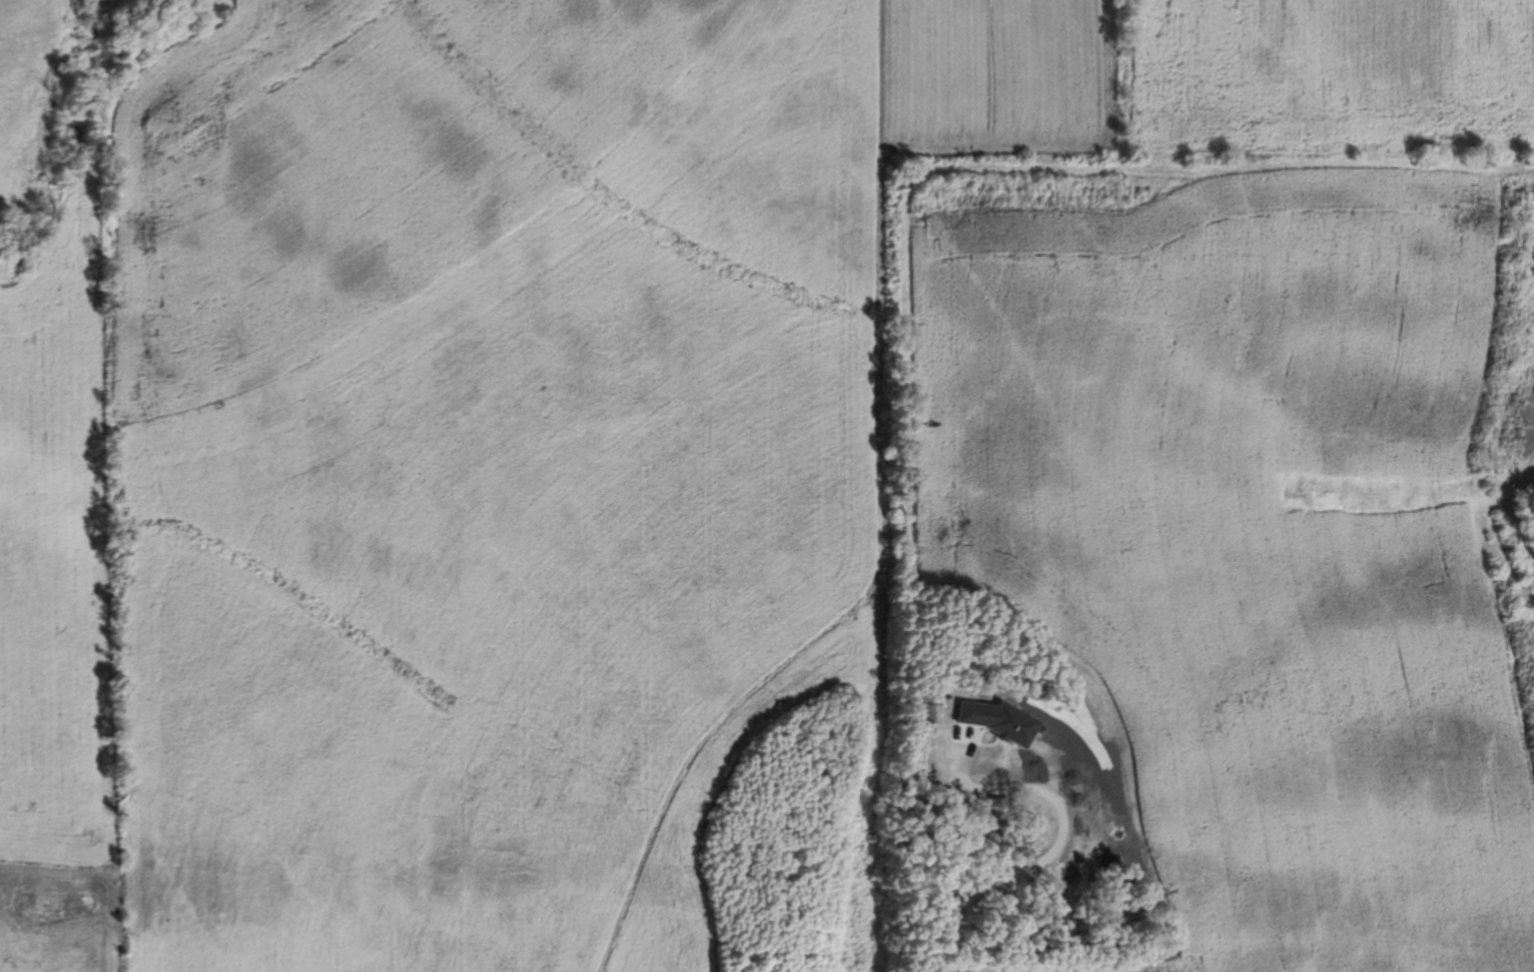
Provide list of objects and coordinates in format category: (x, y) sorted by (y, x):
road: (887, 536)

